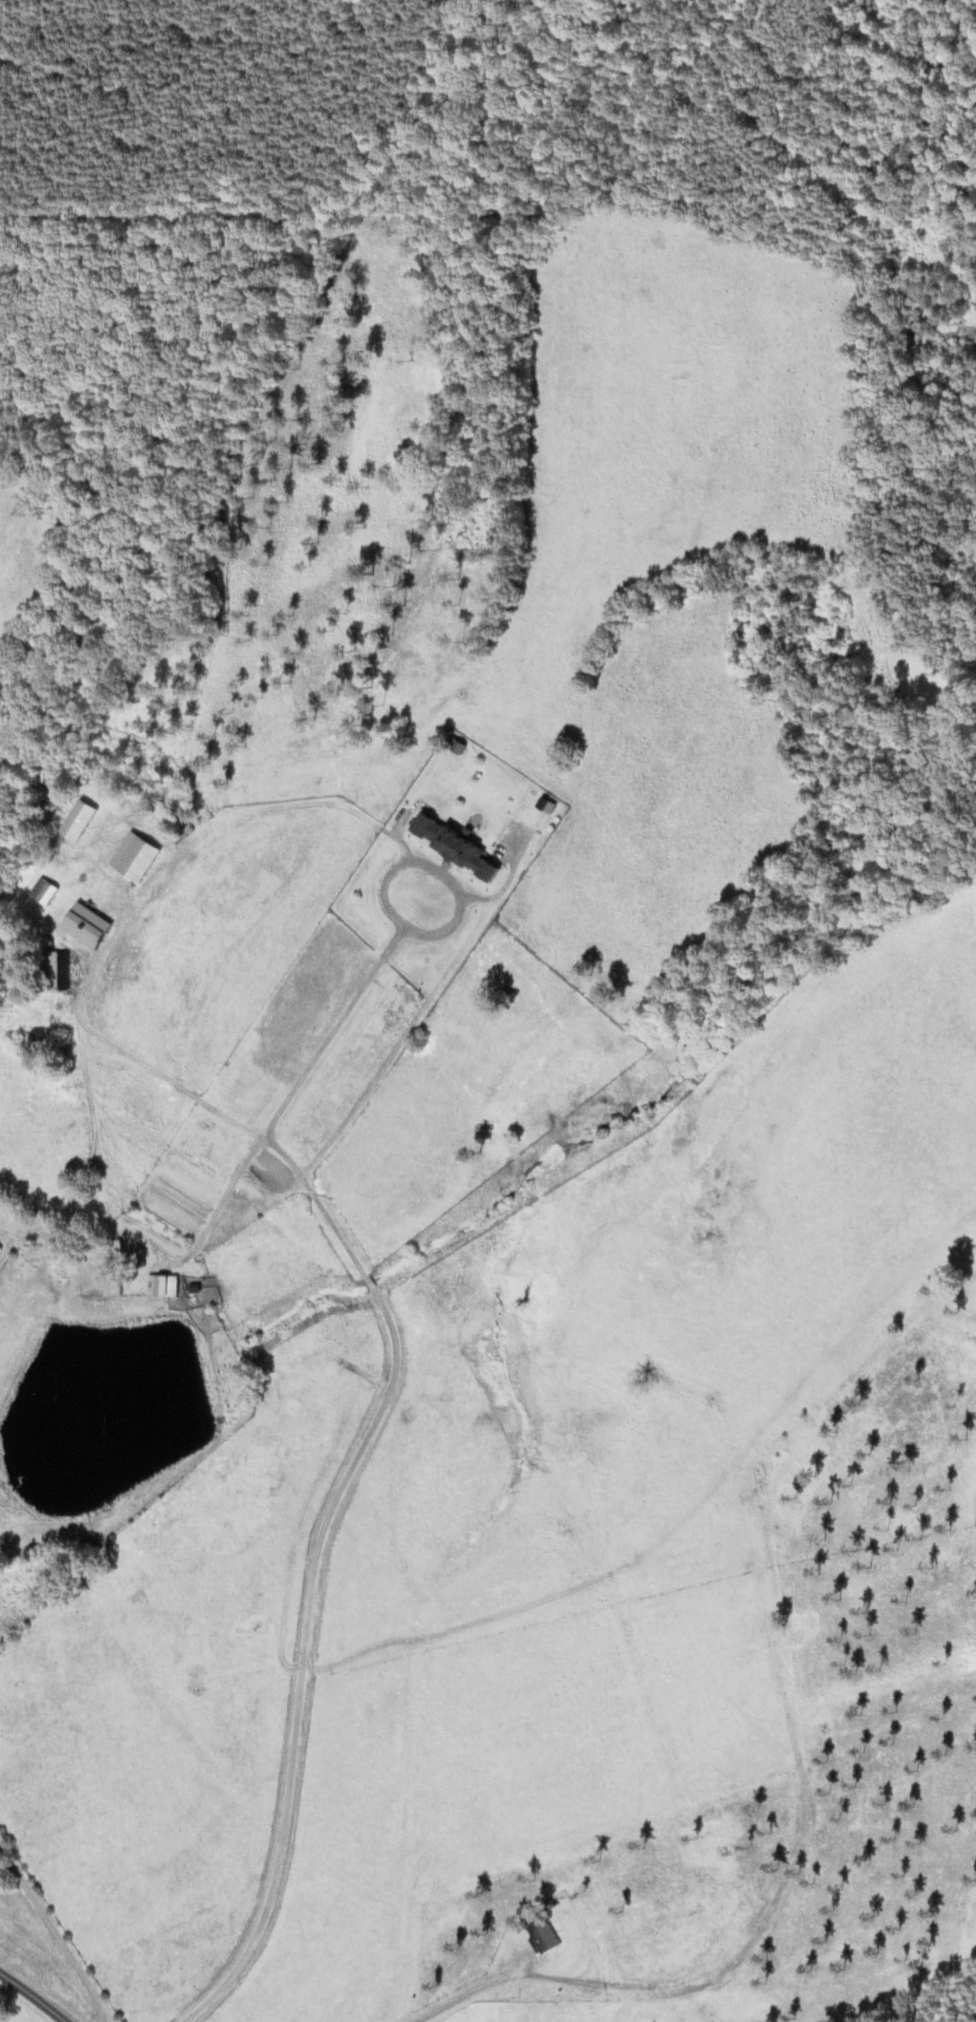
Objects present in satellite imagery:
building: (449, 848)
road: (430, 861)
building: (56, 972)
building: (20, 1046)
road: (333, 1226)
road: (17, 1242)
building: (109, 1282)
road: (369, 1282)
building: (159, 1287)
road: (304, 1660)
building: (544, 1936)
road: (56, 1939)
road: (726, 1972)
road: (470, 1993)
road: (36, 1994)

